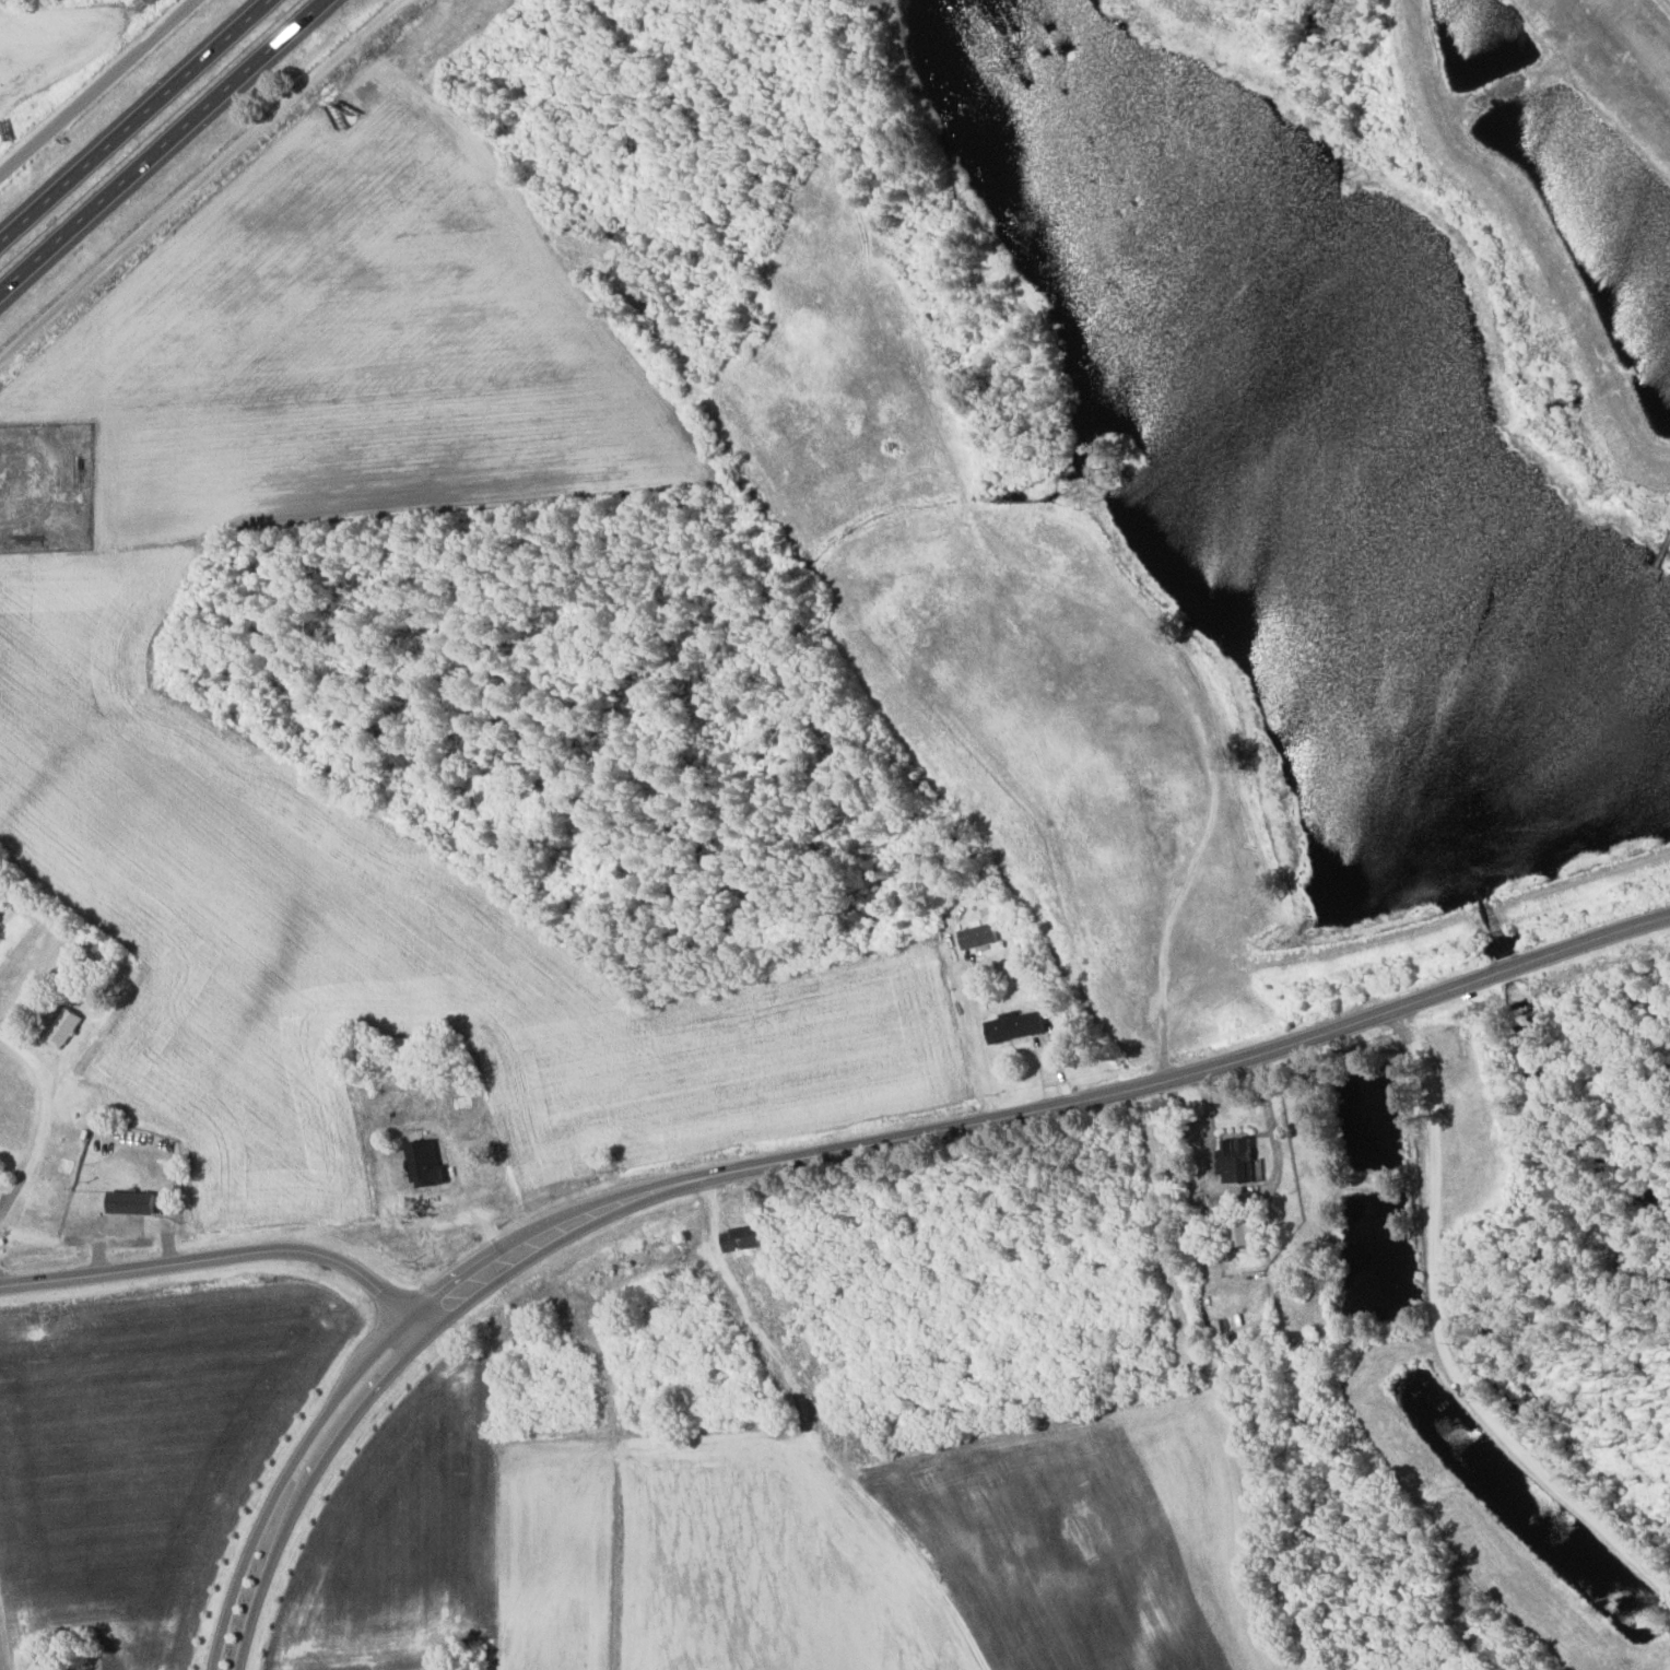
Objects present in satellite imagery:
road: (433, 1)
road: (99, 90)
road: (129, 122)
road: (163, 144)
road: (204, 183)
road: (1195, 861)
building: (977, 936)
building: (1014, 1026)
building: (66, 1032)
road: (1058, 1106)
road: (42, 1121)
building: (1234, 1161)
building: (422, 1164)
building: (128, 1202)
building: (1245, 1234)
building: (739, 1238)
road: (220, 1257)
road: (435, 1313)
road: (1446, 1341)
road: (622, 1385)
road: (1395, 1475)
road: (282, 1478)
road: (304, 1487)

